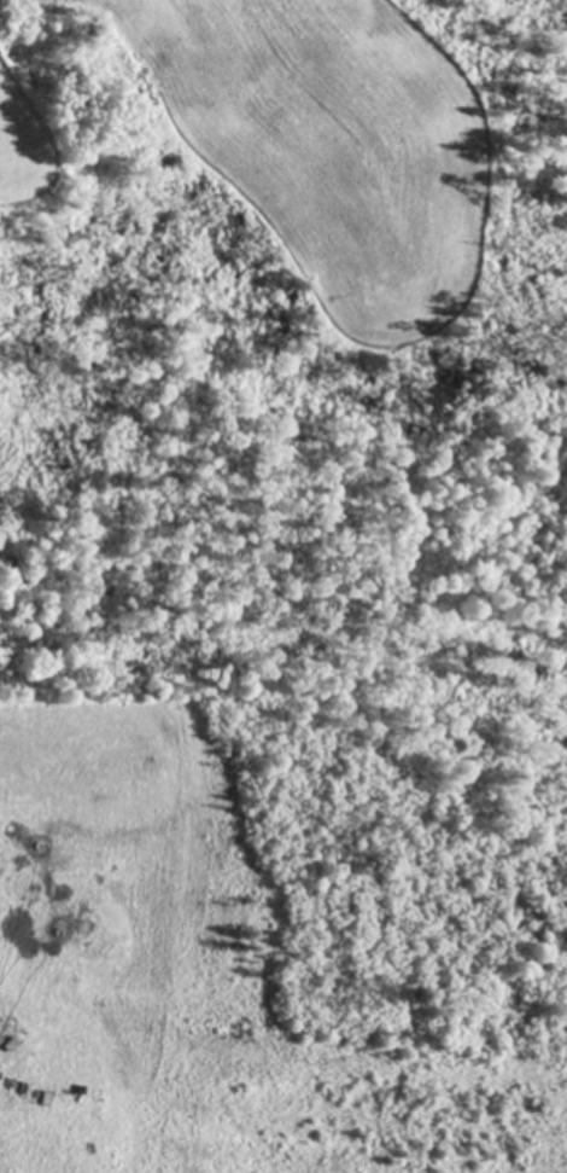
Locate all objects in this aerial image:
crop: (247, 1005)

